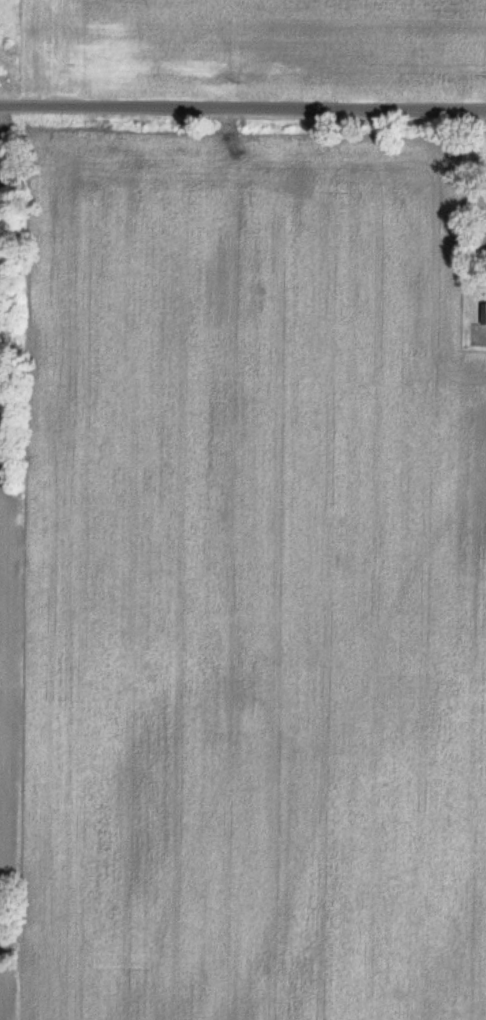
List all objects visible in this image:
road: (243, 107)
road: (474, 178)
building: (484, 313)

